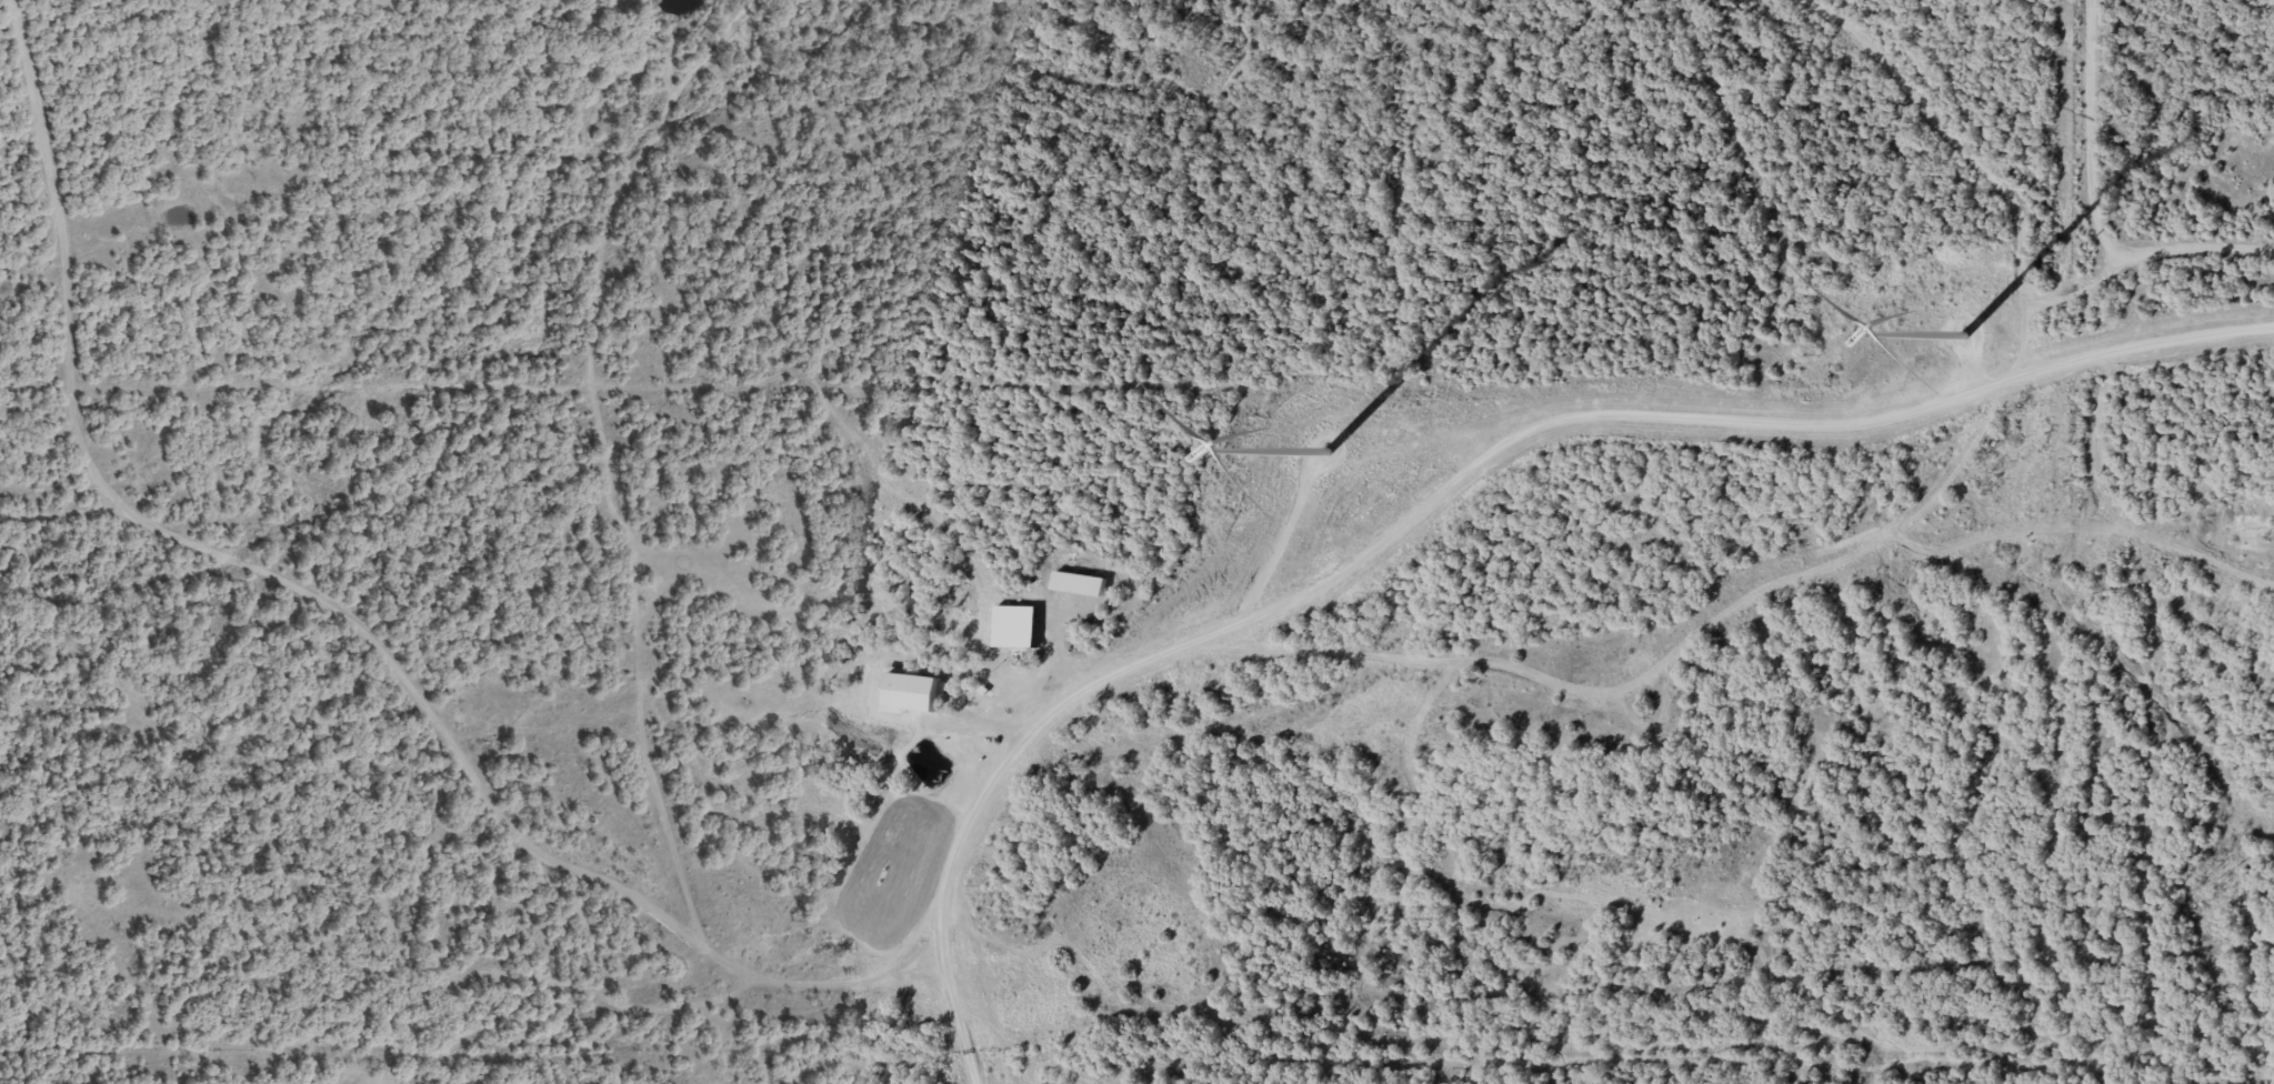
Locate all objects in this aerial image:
wind turbine: (1961, 331)
wind turbine: (1333, 441)
building: (1020, 642)
road: (1654, 936)

